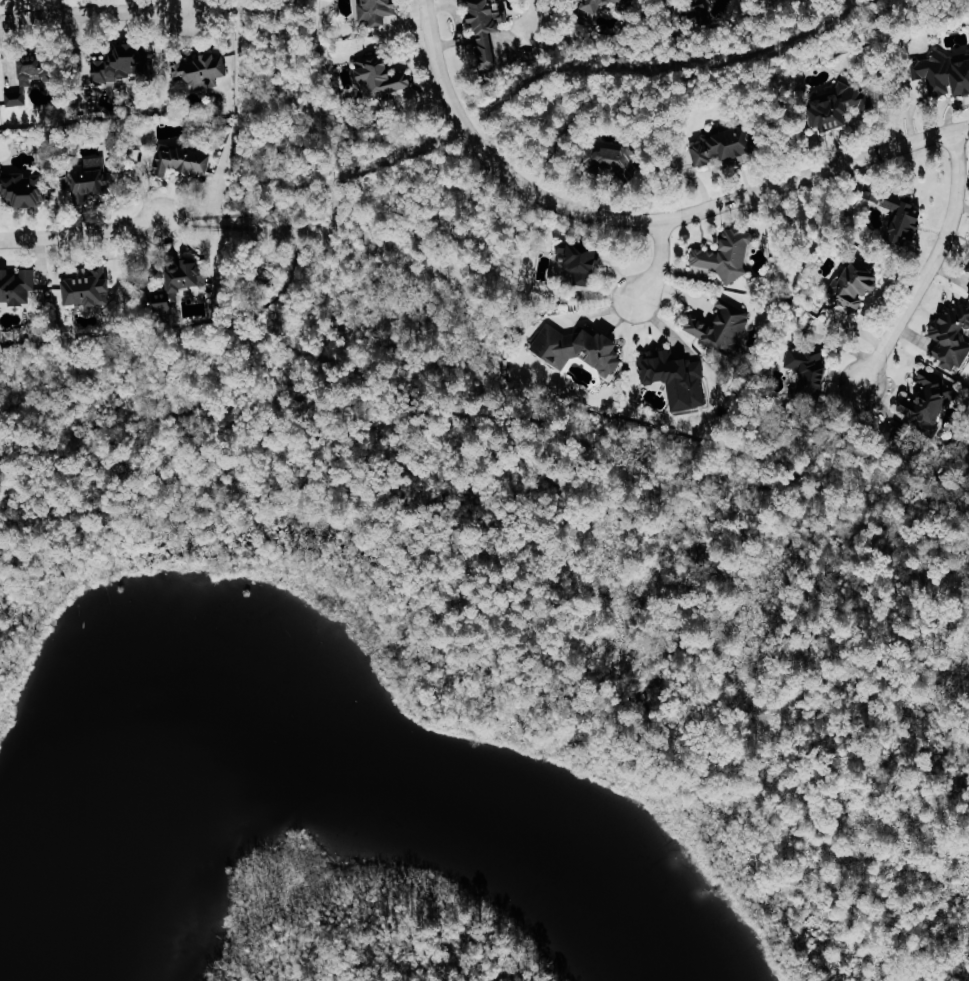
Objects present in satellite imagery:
building: (713, 10)
building: (378, 11)
building: (591, 13)
road: (95, 15)
building: (491, 31)
building: (119, 64)
building: (36, 69)
building: (947, 75)
building: (386, 80)
building: (17, 97)
road: (558, 98)
building: (839, 108)
building: (726, 147)
building: (616, 158)
building: (183, 160)
building: (93, 178)
building: (25, 189)
road: (216, 213)
building: (900, 215)
road: (641, 219)
road: (231, 226)
road: (78, 232)
building: (728, 256)
road: (660, 260)
road: (932, 262)
building: (586, 264)
building: (858, 284)
building: (181, 285)
building: (17, 286)
building: (88, 289)
road: (257, 309)
road: (597, 314)
building: (732, 325)
building: (953, 336)
building: (581, 348)
building: (810, 371)
building: (678, 378)
building: (931, 403)
road: (576, 437)

